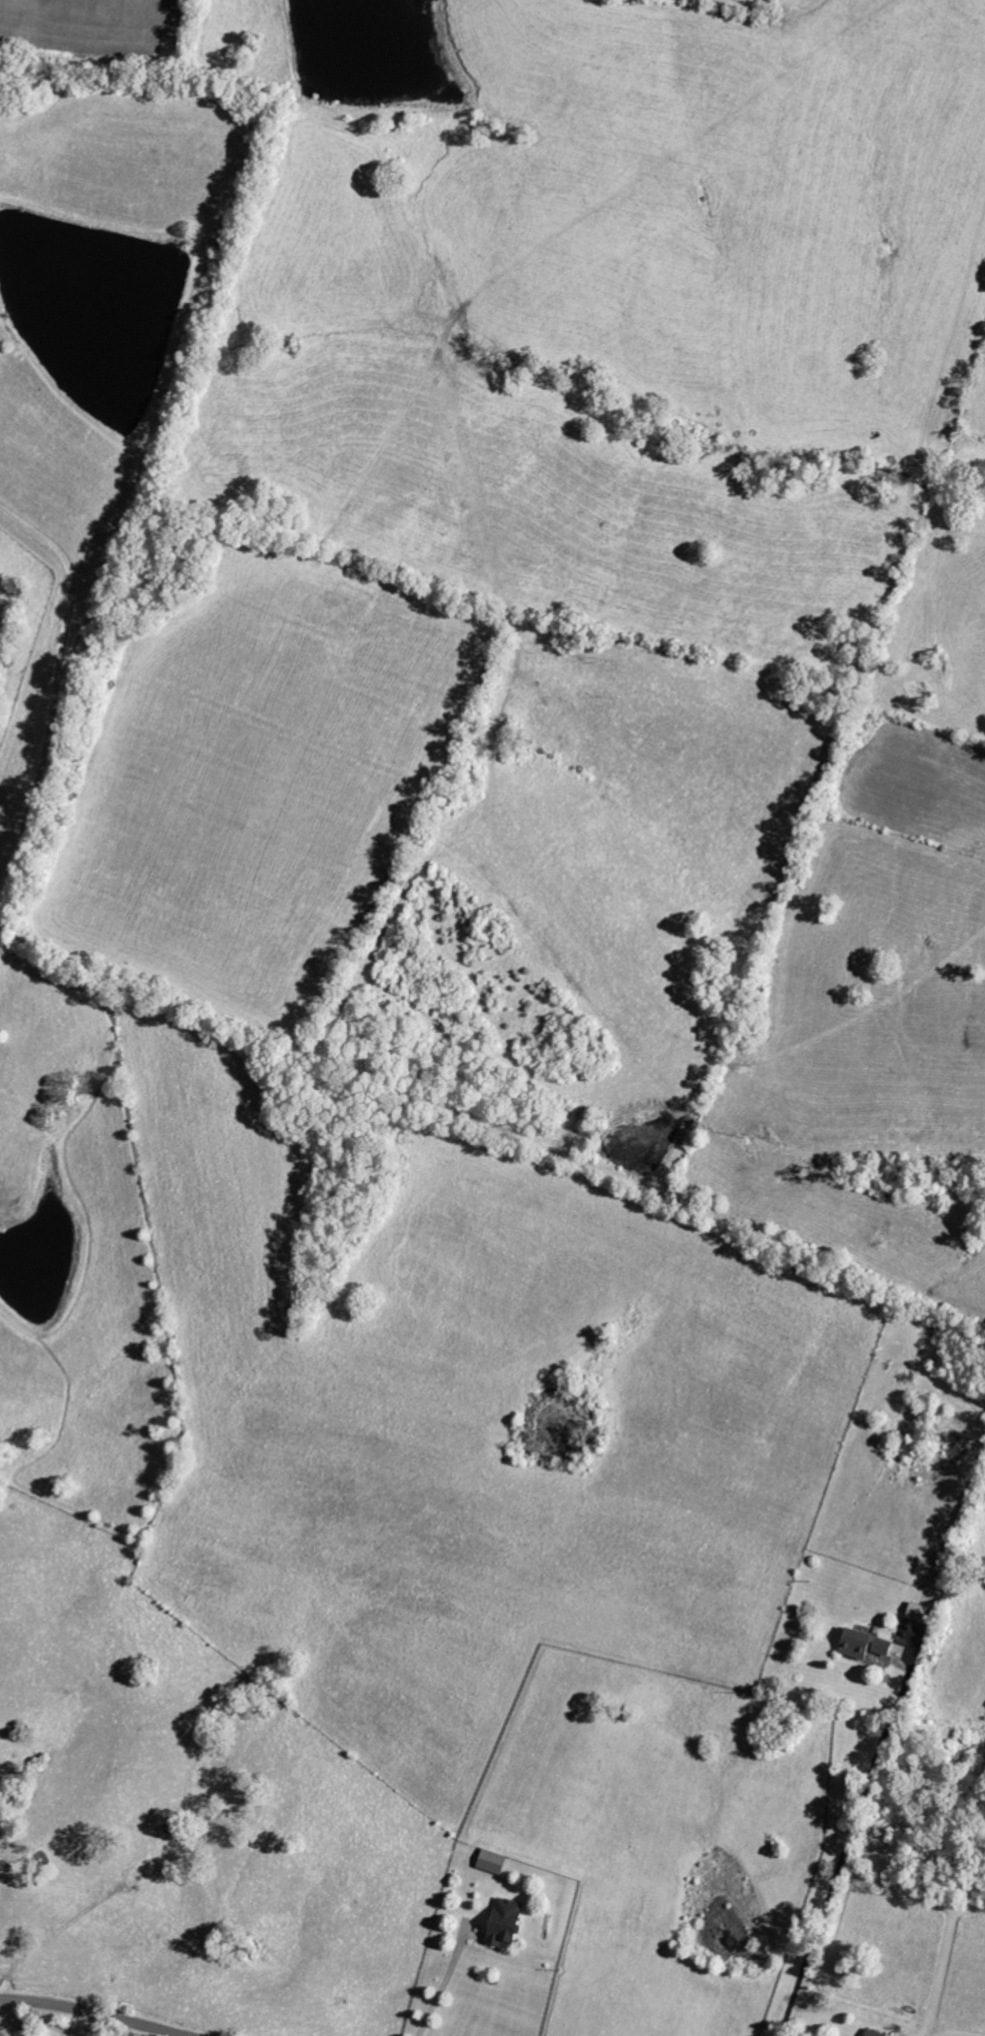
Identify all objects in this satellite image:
road: (846, 1840)
building: (507, 1922)
road: (443, 1984)
road: (93, 2013)
building: (875, 2033)

